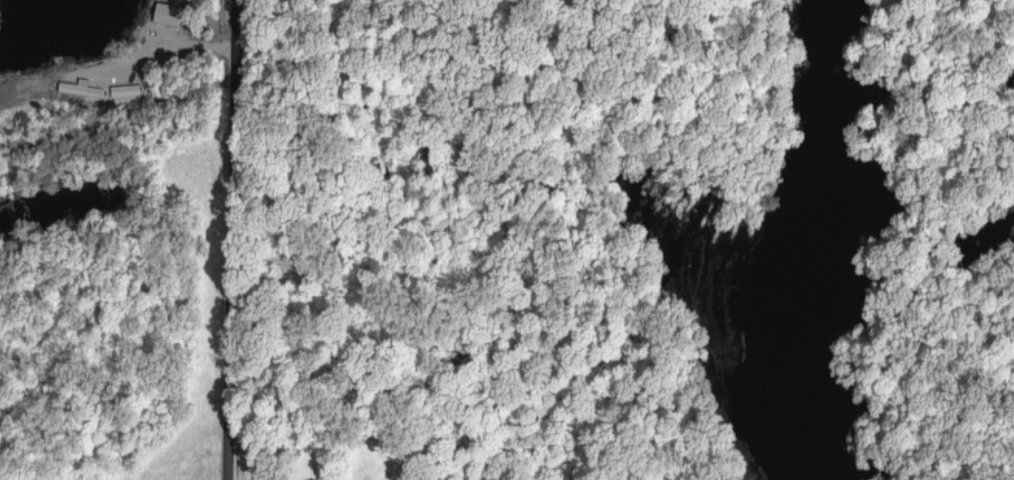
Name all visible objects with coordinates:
building: (170, 13)
building: (126, 88)
road: (234, 240)

